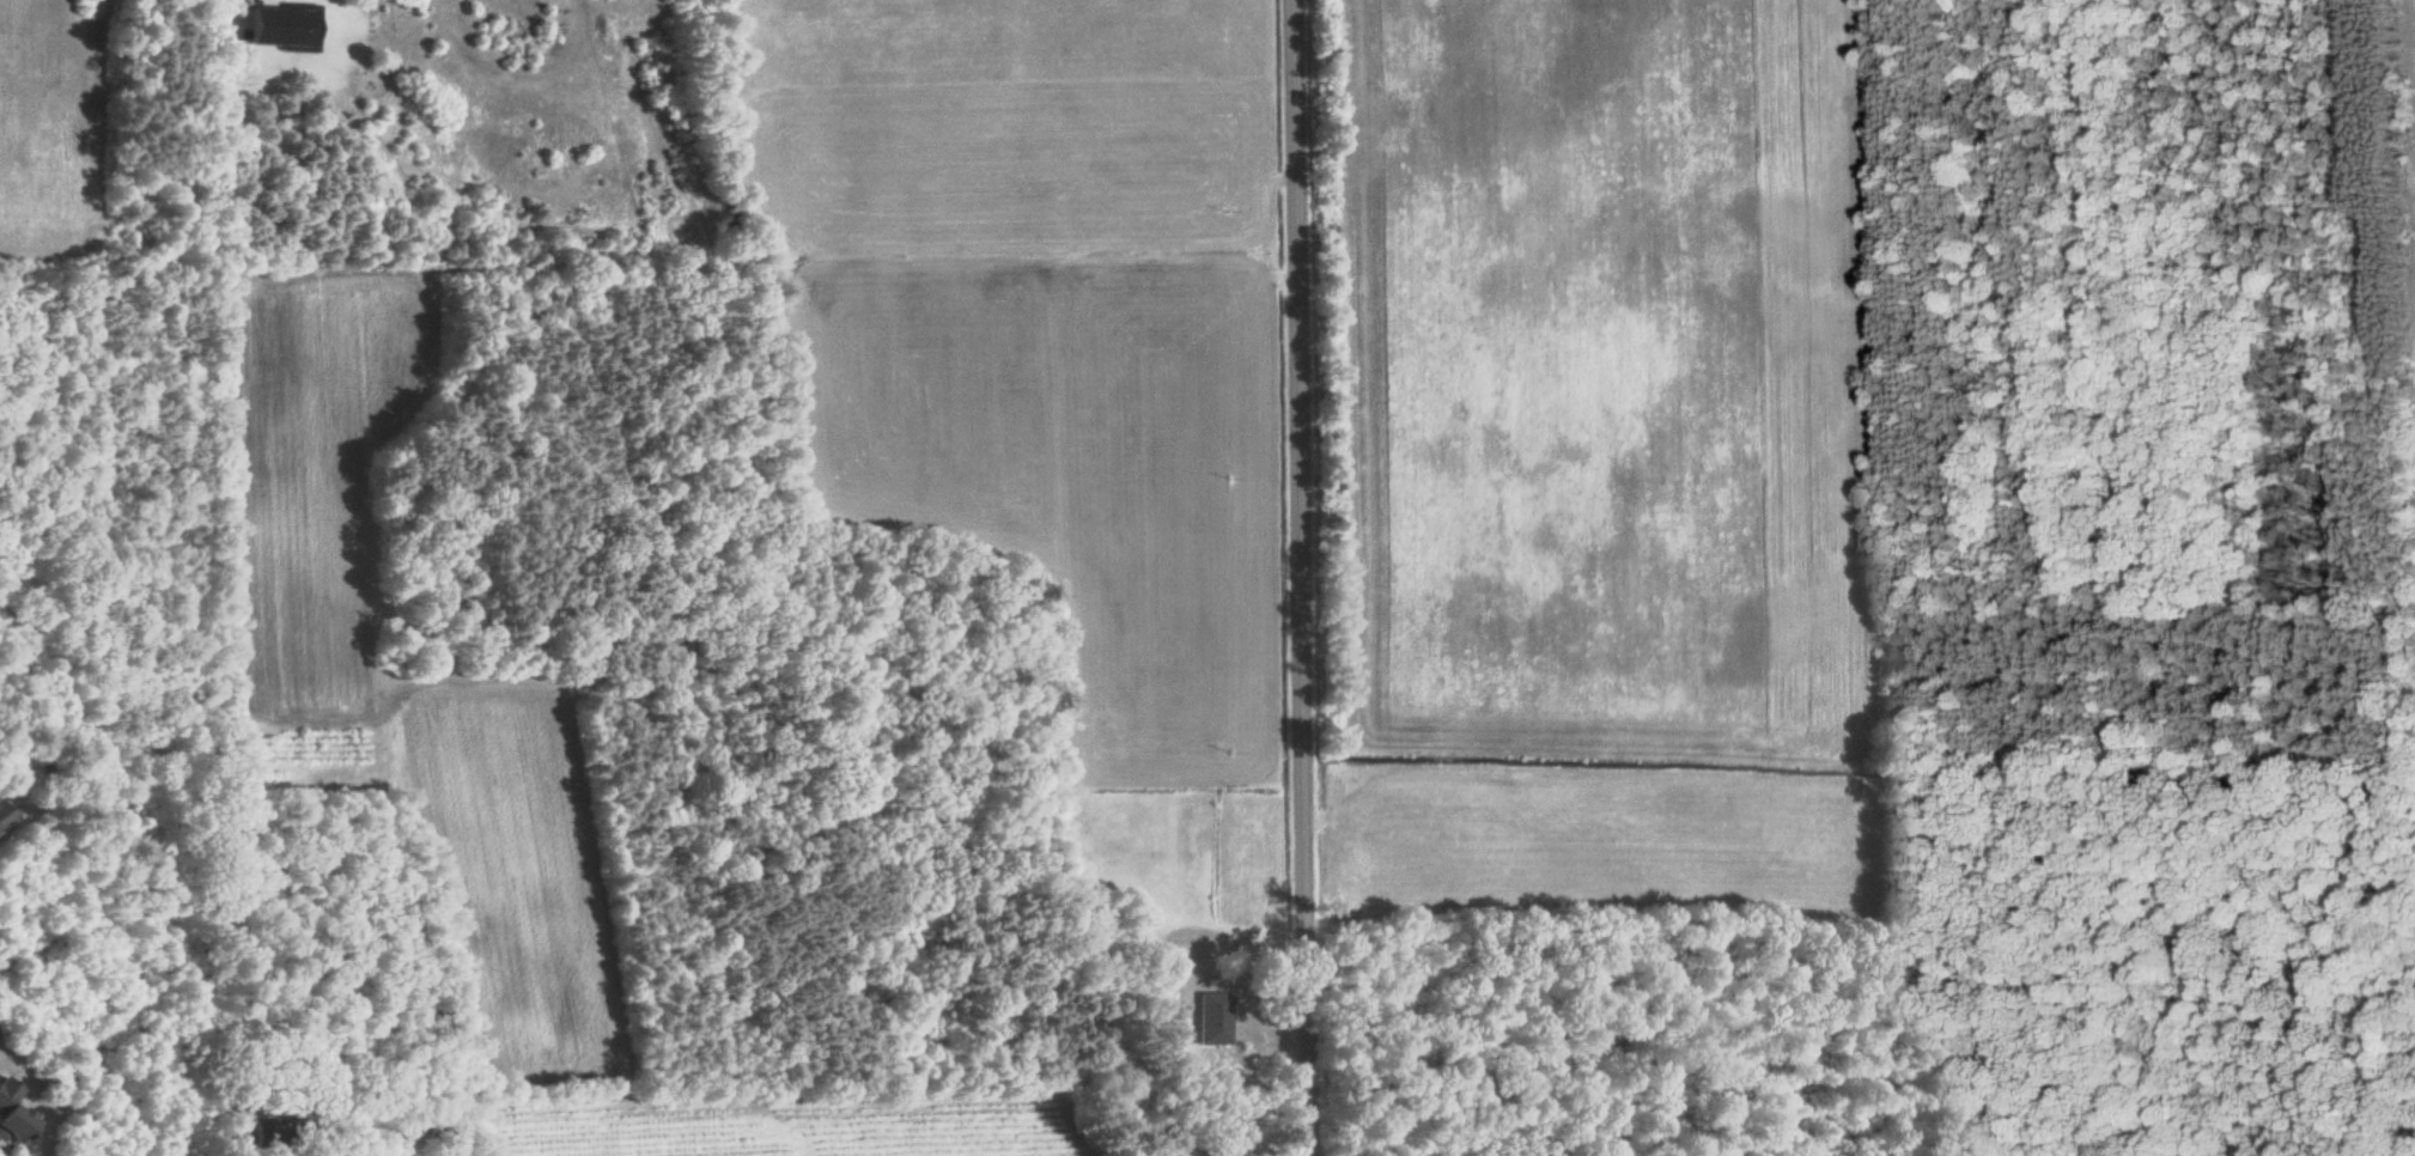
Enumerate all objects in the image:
building: (281, 28)
road: (1304, 578)
building: (5, 814)
building: (1213, 1017)
building: (10, 1112)

